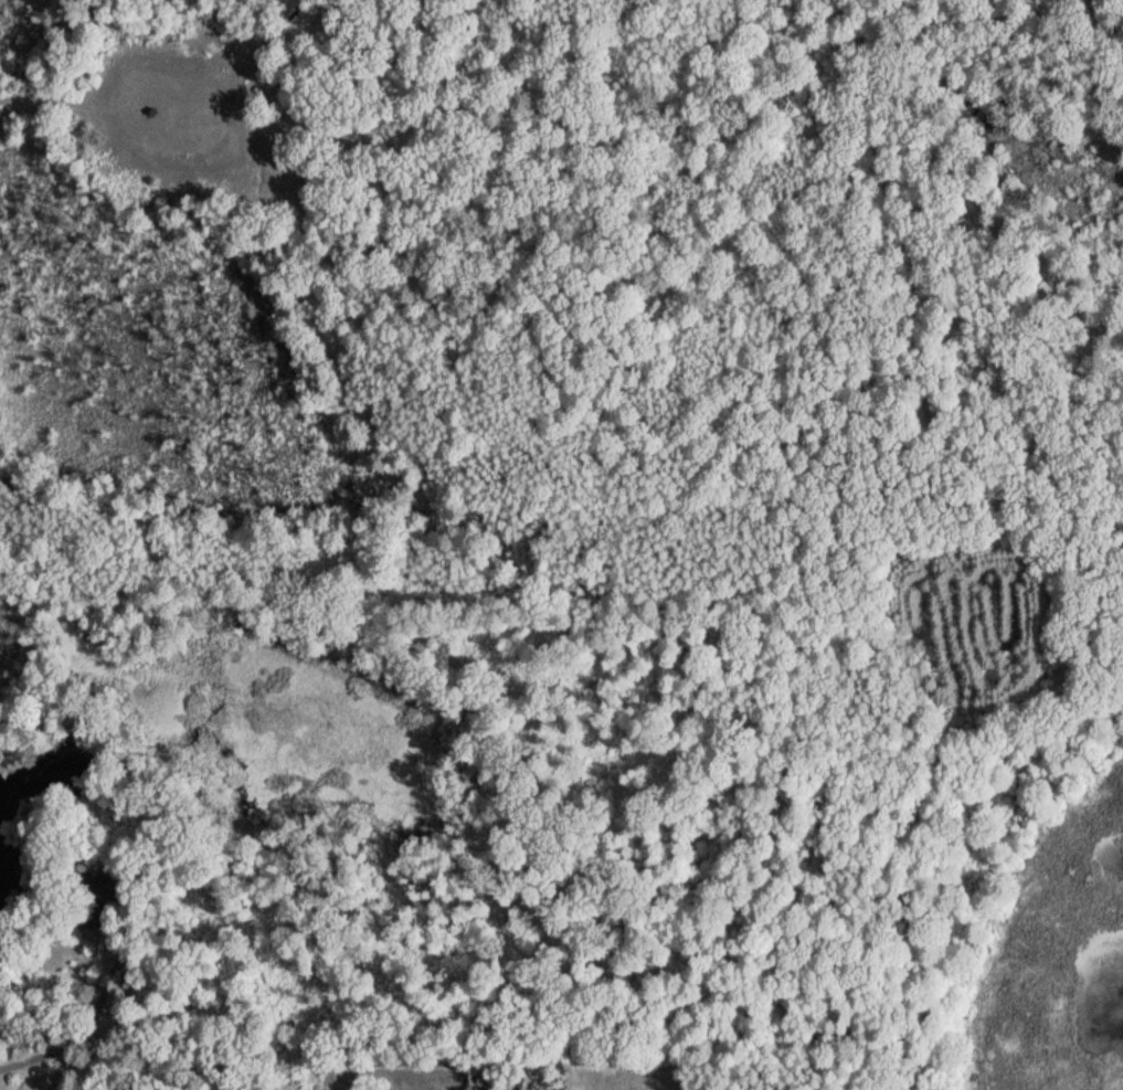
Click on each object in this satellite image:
building: (97, 899)

